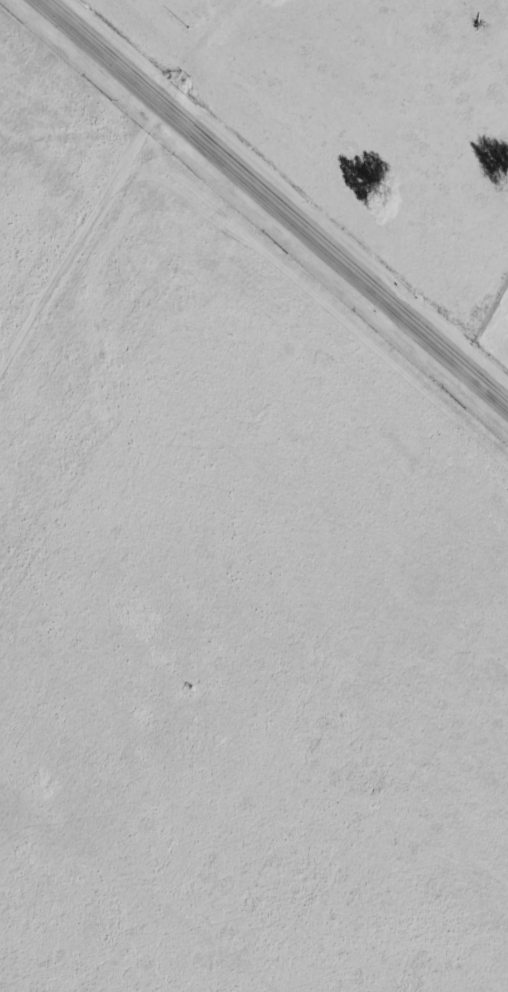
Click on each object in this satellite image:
railway: (311, 166)
road: (275, 202)

